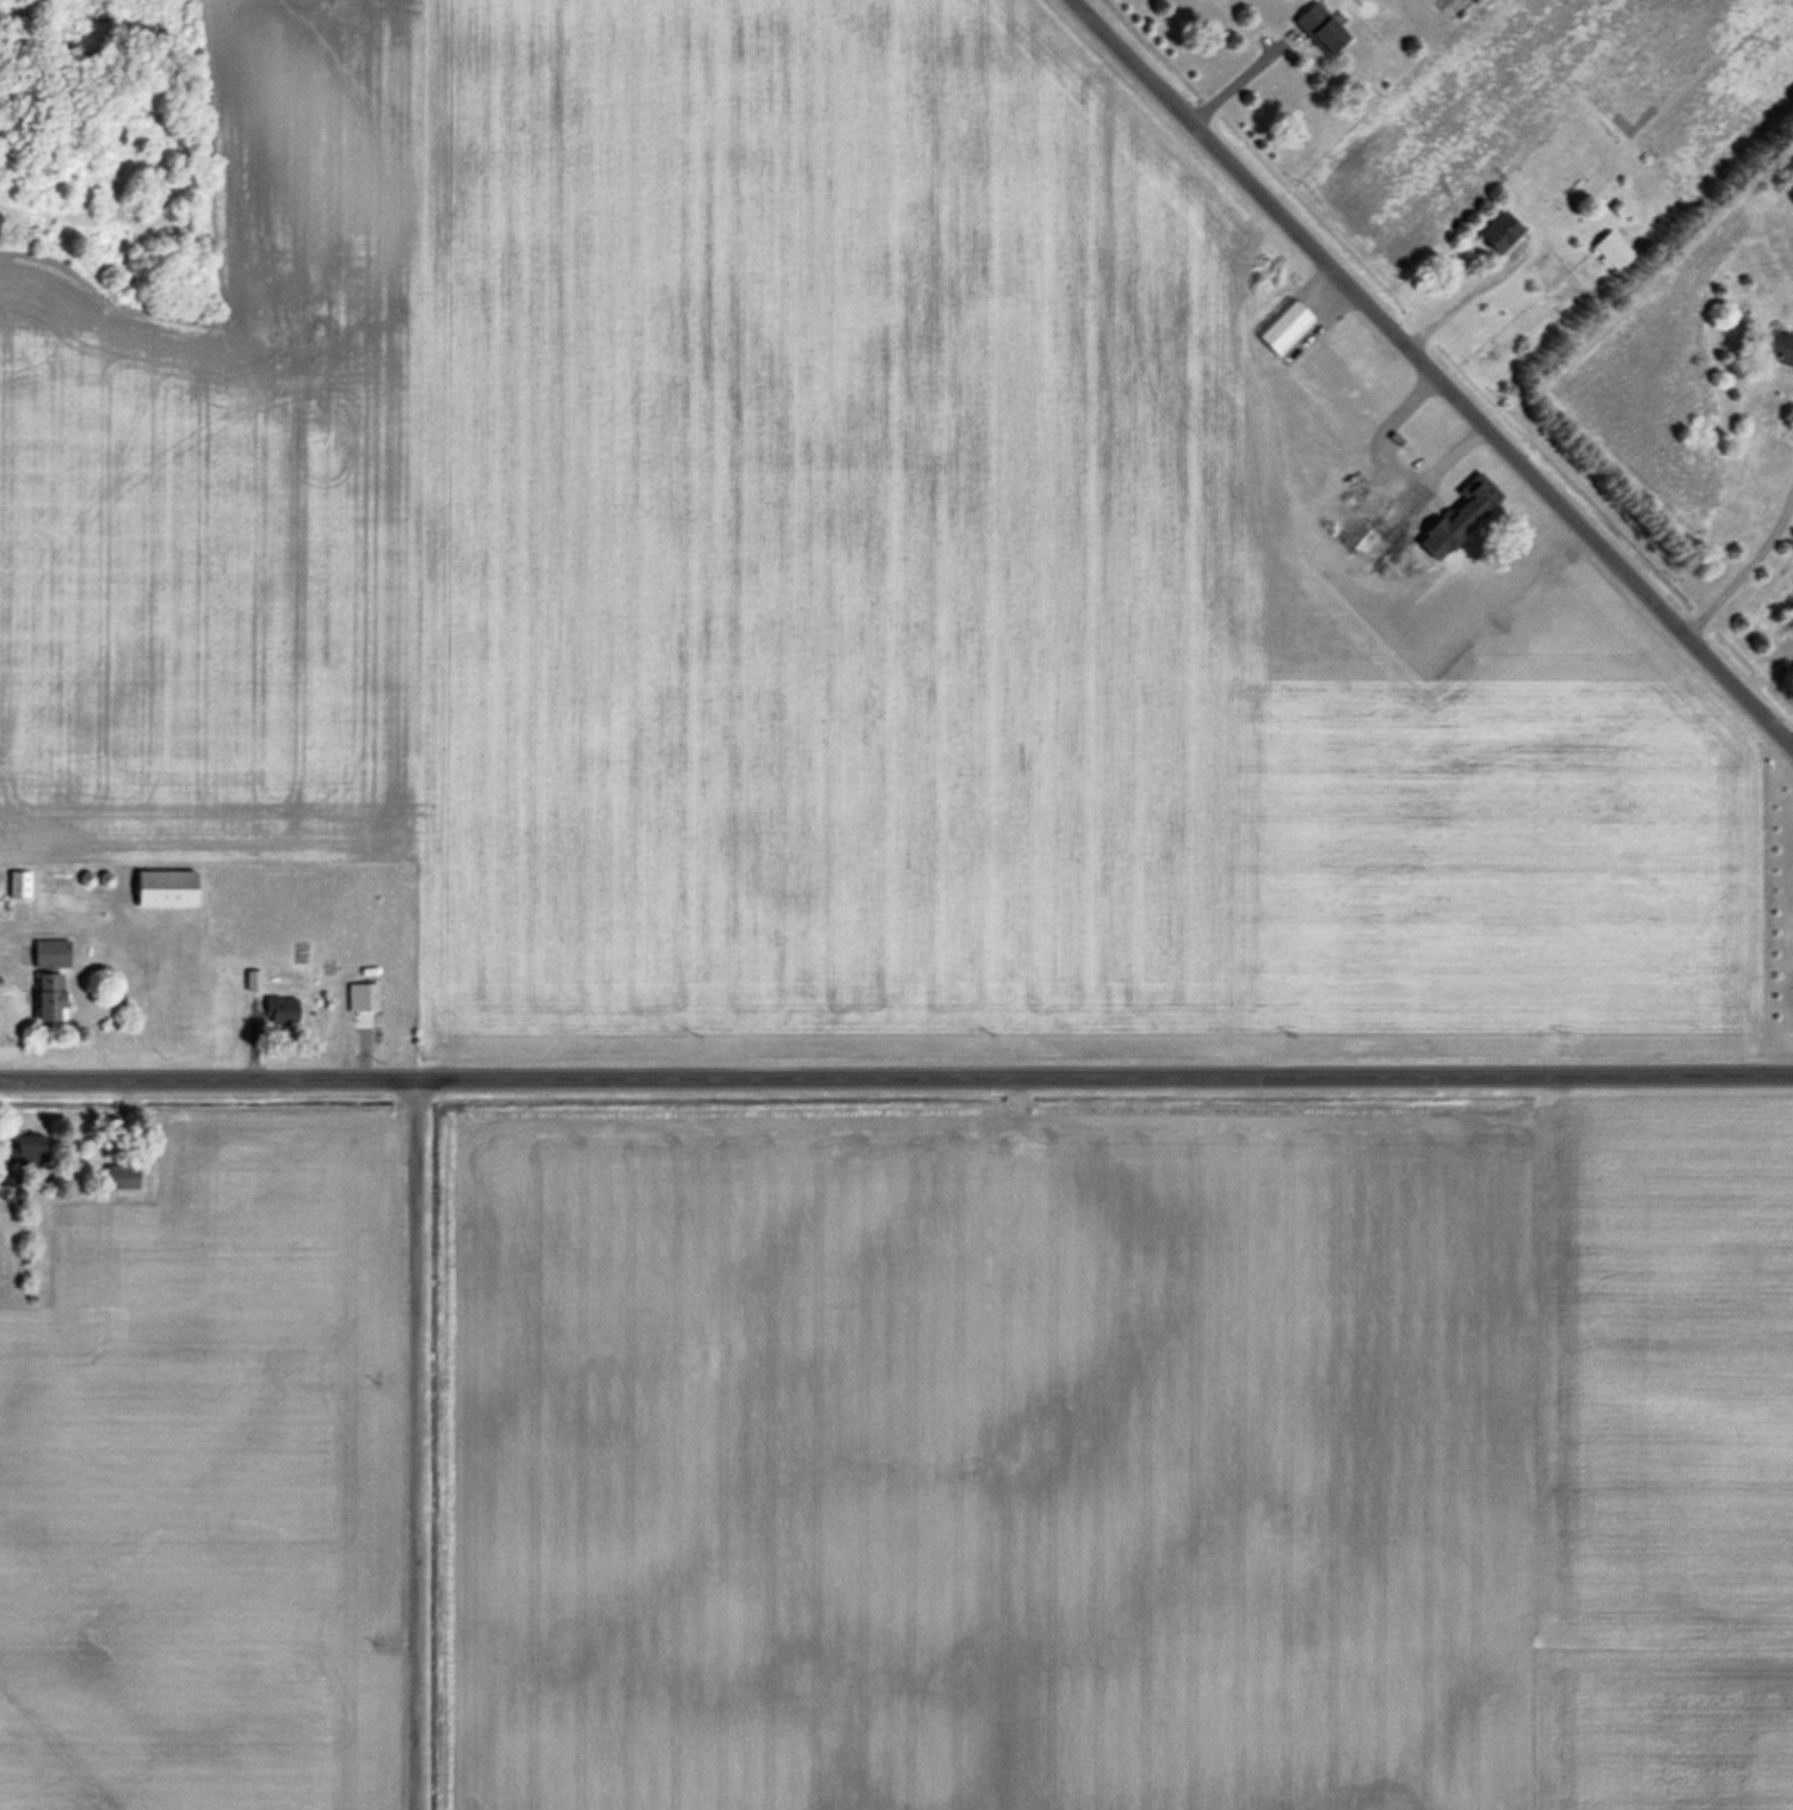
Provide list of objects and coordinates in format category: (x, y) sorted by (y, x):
building: (1318, 27)
building: (1497, 234)
building: (1612, 251)
road: (1465, 295)
building: (1282, 327)
building: (1777, 346)
road: (1435, 374)
building: (1331, 432)
building: (1370, 498)
building: (1454, 518)
building: (1375, 536)
road: (1748, 564)
building: (17, 882)
building: (161, 888)
building: (2, 907)
road: (68, 922)
building: (48, 952)
road: (4, 980)
building: (251, 980)
building: (44, 996)
building: (275, 1006)
road: (895, 1079)
building: (24, 1149)
building: (118, 1175)
road: (413, 1445)

